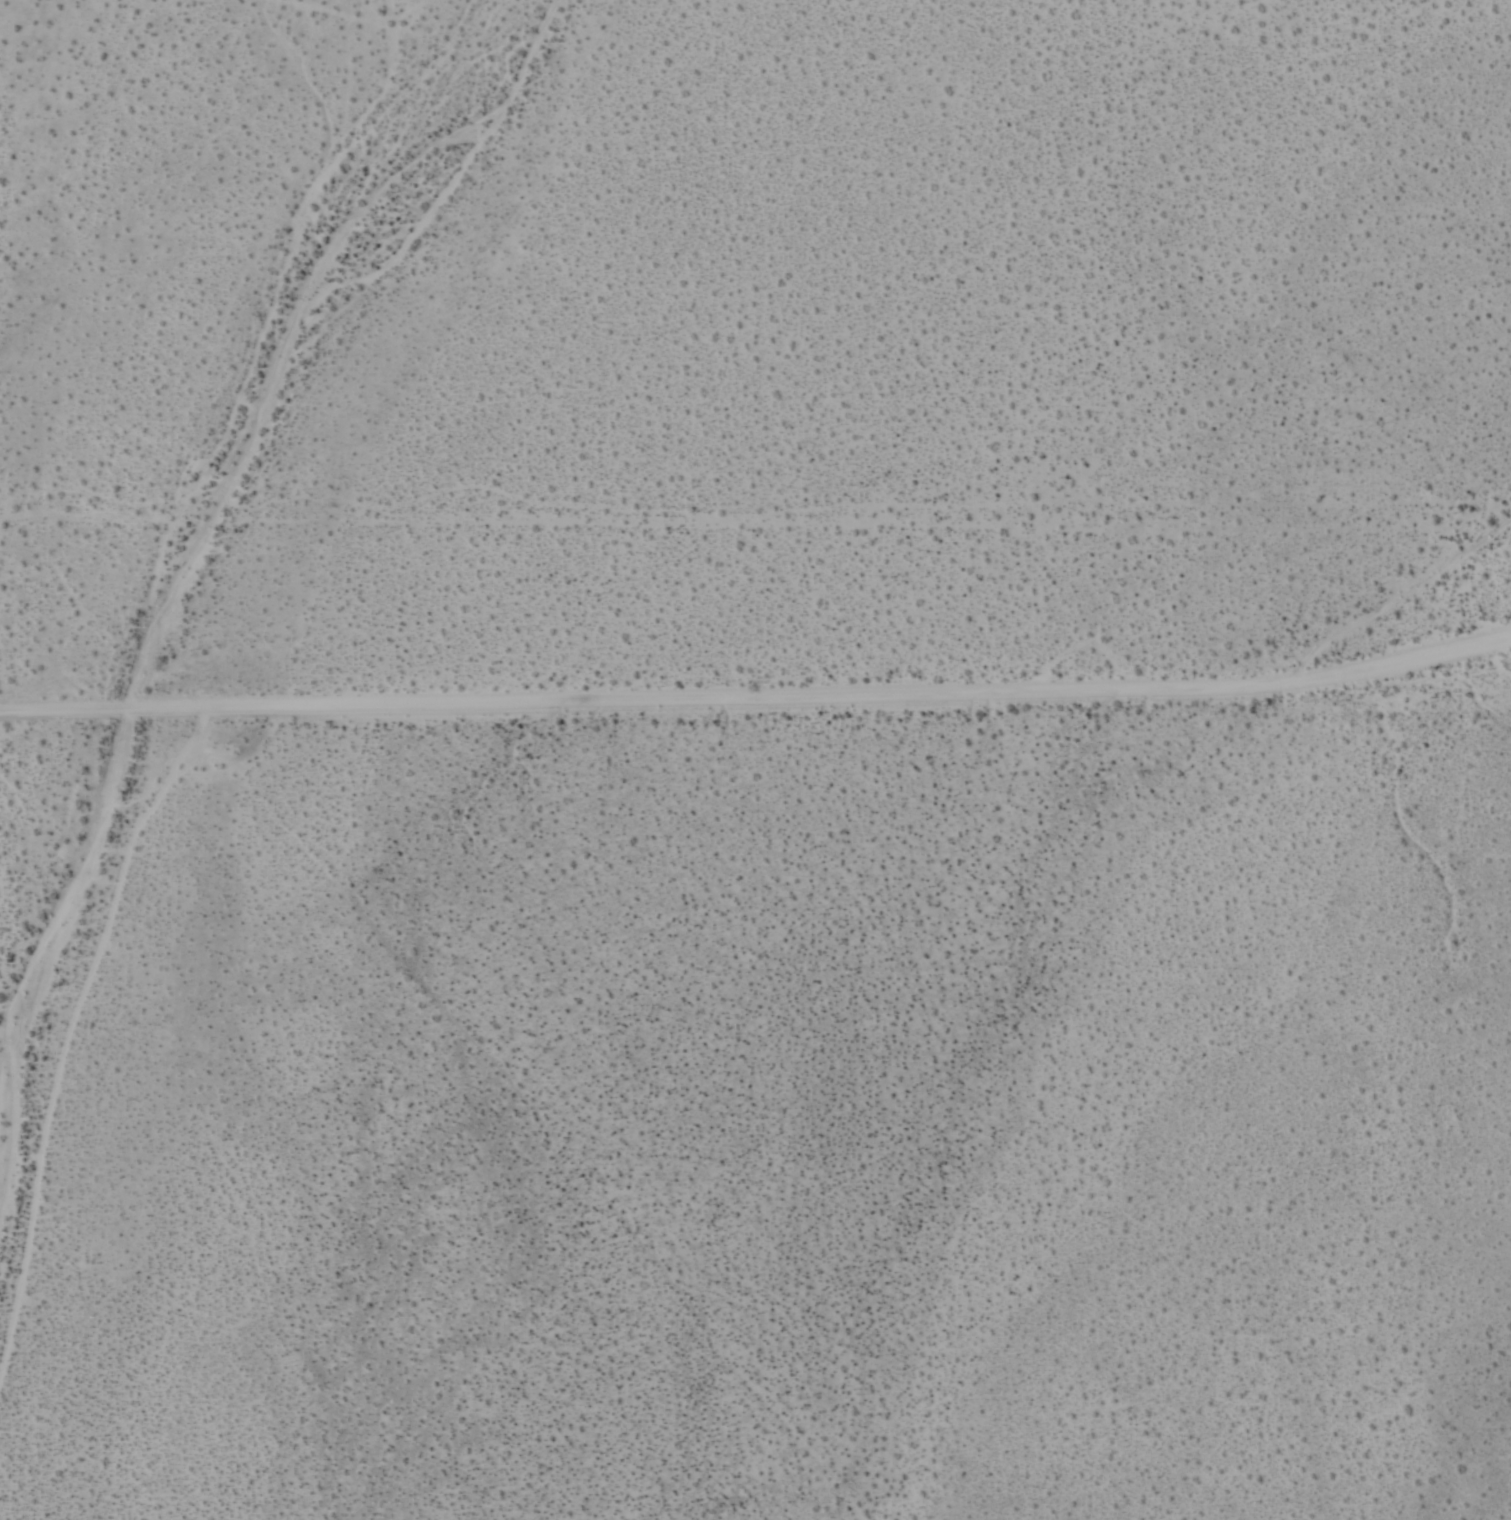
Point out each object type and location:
road: (758, 698)

